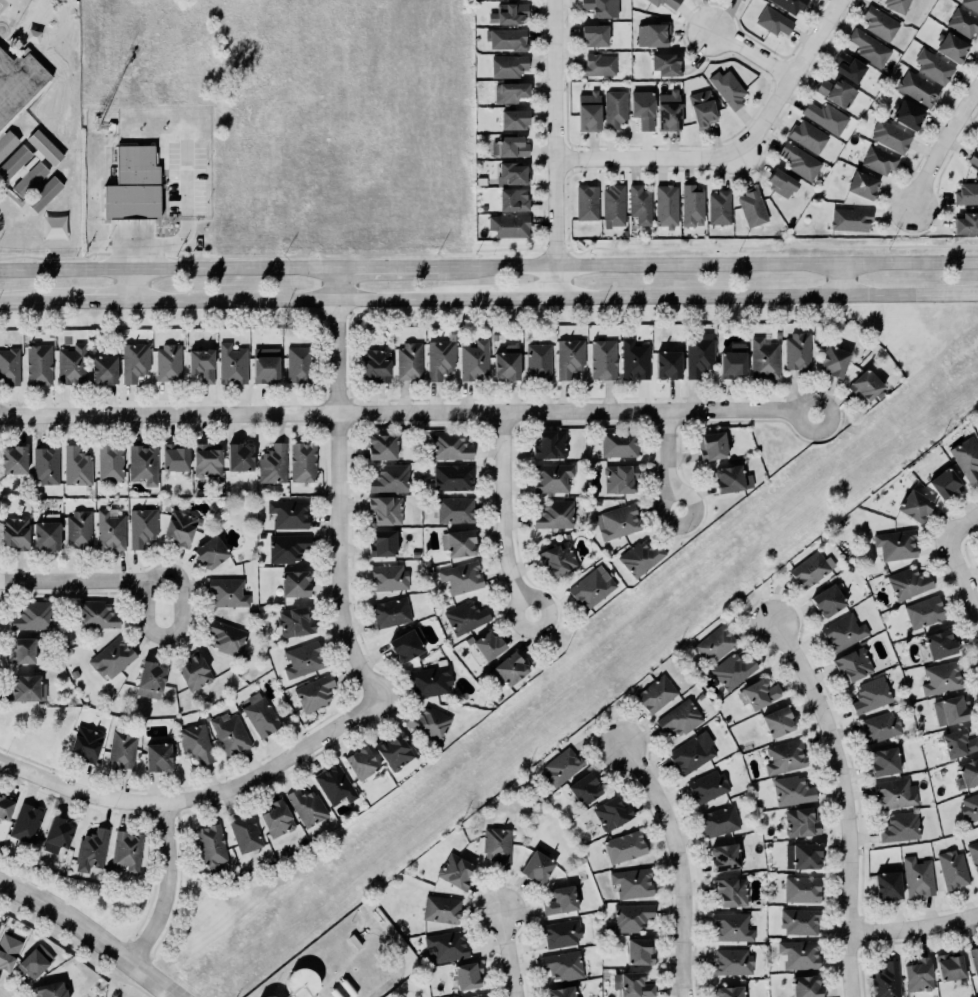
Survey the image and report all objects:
building: (741, 0)
building: (743, 0)
building: (664, 2)
building: (971, 4)
building: (791, 5)
building: (897, 5)
building: (600, 8)
building: (510, 12)
building: (772, 20)
building: (878, 23)
building: (963, 24)
building: (594, 35)
building: (652, 36)
building: (506, 39)
building: (949, 46)
building: (868, 47)
road: (752, 55)
building: (597, 64)
building: (665, 64)
building: (506, 65)
building: (847, 66)
building: (932, 66)
road: (792, 79)
building: (17, 81)
building: (727, 87)
building: (917, 88)
building: (511, 92)
building: (836, 92)
park: (976, 104)
building: (643, 109)
building: (702, 109)
building: (614, 110)
building: (668, 111)
building: (589, 112)
building: (906, 113)
road: (974, 113)
building: (826, 117)
building: (512, 119)
building: (806, 136)
building: (891, 136)
building: (7, 143)
building: (509, 147)
road: (557, 148)
road: (943, 148)
road: (649, 158)
building: (878, 159)
building: (974, 159)
building: (800, 161)
building: (513, 173)
building: (29, 179)
building: (781, 182)
building: (133, 185)
building: (861, 185)
building: (966, 193)
building: (511, 200)
building: (587, 202)
building: (638, 204)
building: (614, 206)
building: (666, 206)
building: (691, 206)
building: (719, 207)
building: (751, 207)
building: (849, 219)
building: (966, 223)
building: (509, 225)
road: (184, 229)
road: (131, 245)
road: (772, 246)
road: (568, 248)
road: (708, 265)
road: (388, 268)
road: (169, 270)
road: (843, 280)
road: (133, 286)
road: (768, 296)
road: (505, 298)
road: (292, 300)
road: (93, 302)
road: (26, 303)
building: (796, 348)
building: (696, 354)
building: (566, 355)
building: (762, 355)
building: (831, 355)
building: (601, 356)
building: (632, 356)
building: (439, 357)
building: (68, 358)
building: (132, 358)
building: (166, 359)
building: (295, 359)
building: (665, 359)
building: (729, 359)
building: (37, 360)
building: (230, 360)
building: (262, 360)
building: (472, 360)
building: (199, 361)
building: (408, 361)
building: (539, 361)
building: (373, 362)
building: (8, 363)
building: (101, 363)
building: (507, 363)
building: (863, 380)
road: (407, 414)
building: (977, 421)
building: (379, 443)
building: (449, 443)
building: (619, 444)
building: (550, 445)
building: (711, 446)
building: (235, 451)
building: (173, 454)
building: (965, 458)
building: (14, 459)
building: (300, 459)
building: (139, 460)
building: (205, 460)
road: (667, 461)
building: (110, 462)
building: (271, 462)
building: (45, 464)
building: (75, 466)
building: (389, 476)
building: (451, 477)
building: (552, 477)
building: (619, 478)
building: (732, 479)
building: (943, 484)
road: (340, 488)
building: (915, 506)
building: (285, 508)
building: (453, 509)
building: (386, 510)
building: (553, 514)
road: (504, 516)
building: (617, 521)
building: (141, 526)
building: (109, 527)
building: (180, 527)
building: (78, 530)
building: (14, 532)
building: (45, 536)
building: (382, 543)
building: (459, 543)
building: (895, 545)
building: (288, 548)
building: (211, 552)
building: (638, 554)
building: (558, 558)
road: (957, 564)
building: (811, 569)
building: (386, 575)
building: (462, 577)
building: (293, 578)
building: (906, 580)
road: (72, 581)
building: (592, 588)
building: (224, 589)
building: (827, 601)
building: (390, 612)
building: (925, 612)
building: (95, 613)
building: (32, 616)
building: (464, 617)
building: (294, 618)
road: (187, 623)
building: (842, 632)
building: (224, 637)
building: (485, 640)
building: (714, 643)
building: (939, 644)
building: (20, 645)
building: (404, 646)
building: (304, 656)
building: (113, 658)
building: (508, 663)
building: (853, 664)
building: (191, 667)
building: (731, 670)
building: (941, 677)
building: (149, 679)
building: (23, 681)
building: (431, 681)
building: (313, 689)
building: (759, 693)
building: (656, 694)
building: (869, 694)
building: (950, 710)
building: (258, 711)
building: (679, 718)
building: (777, 722)
building: (428, 723)
building: (879, 727)
building: (228, 729)
building: (82, 740)
building: (194, 741)
building: (957, 743)
building: (119, 745)
building: (394, 748)
building: (155, 752)
building: (688, 754)
building: (785, 757)
building: (361, 762)
building: (883, 762)
building: (560, 767)
building: (968, 772)
building: (332, 785)
building: (706, 786)
building: (583, 789)
building: (792, 790)
building: (892, 793)
road: (196, 795)
building: (4, 801)
road: (845, 802)
building: (305, 804)
building: (969, 808)
building: (610, 814)
building: (23, 818)
building: (277, 819)
building: (718, 821)
building: (801, 822)
building: (899, 826)
building: (55, 829)
building: (244, 830)
building: (623, 845)
building: (89, 846)
building: (210, 846)
building: (498, 846)
building: (127, 850)
building: (721, 851)
building: (974, 854)
building: (805, 856)
building: (537, 865)
road: (678, 866)
building: (953, 869)
building: (456, 871)
building: (918, 877)
building: (630, 880)
road: (165, 887)
building: (886, 887)
building: (802, 889)
building: (730, 892)
building: (559, 901)
building: (441, 909)
building: (631, 917)
building: (798, 921)
building: (730, 923)
road: (915, 927)
road: (364, 932)
building: (560, 932)
road: (91, 934)
road: (75, 945)
building: (8, 951)
building: (639, 951)
road: (394, 952)
road: (509, 953)
building: (453, 954)
building: (799, 954)
building: (974, 959)
building: (34, 961)
building: (732, 961)
building: (561, 965)
building: (947, 967)
building: (917, 975)
building: (884, 978)
building: (302, 983)
park: (123, 985)
park: (408, 985)
building: (632, 985)
building: (806, 986)
building: (49, 990)
road: (405, 991)
building: (560, 992)
building: (728, 992)
building: (473, 995)
building: (277, 996)

